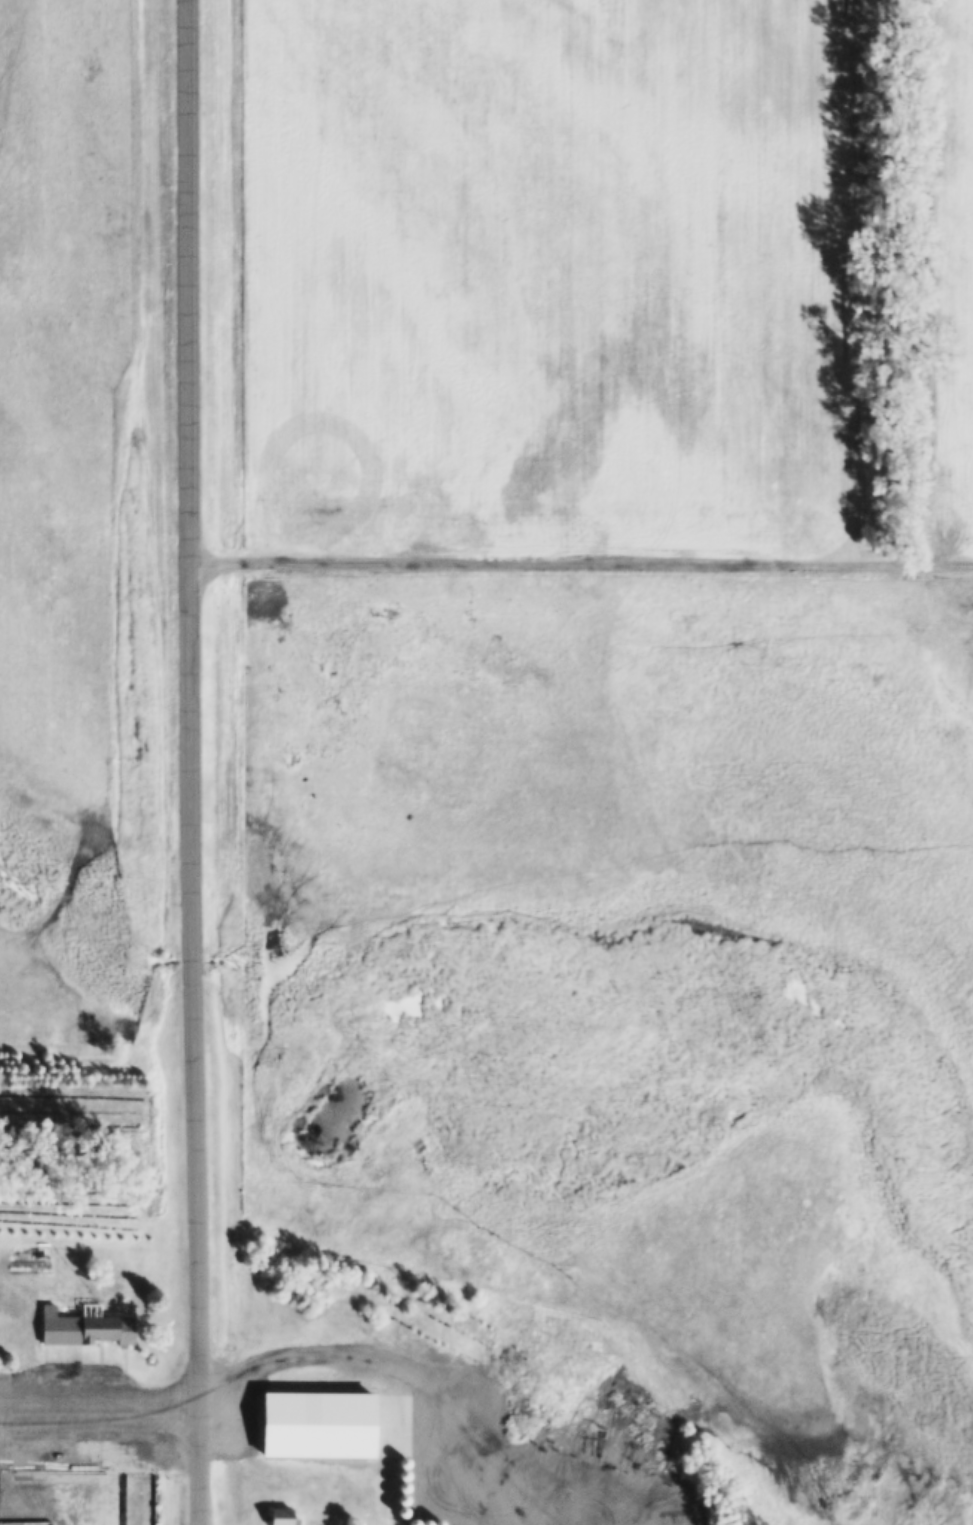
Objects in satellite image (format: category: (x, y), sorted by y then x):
road: (578, 562)
road: (186, 762)
building: (86, 1327)
road: (381, 1377)
road: (98, 1399)
building: (306, 1401)
building: (141, 1499)
building: (284, 1518)

